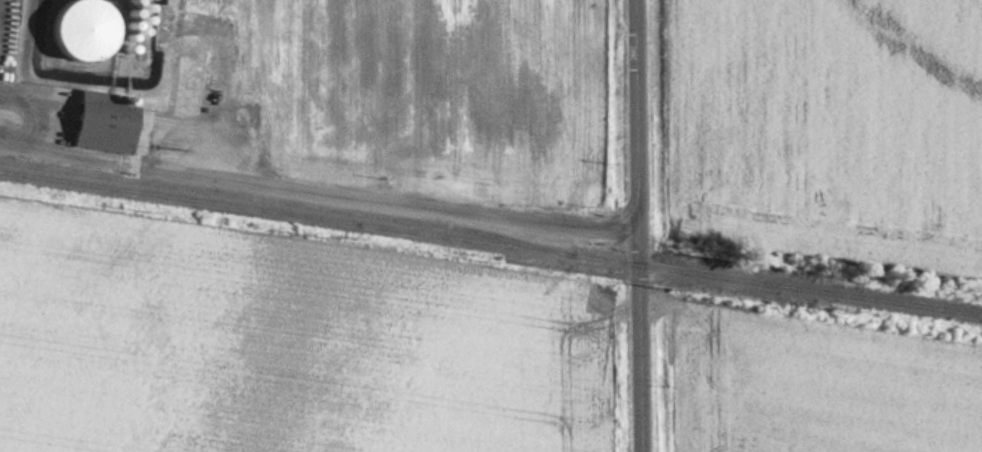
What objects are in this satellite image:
building: (82, 30)
building: (105, 123)
railway: (280, 202)
road: (635, 225)
railway: (491, 244)

